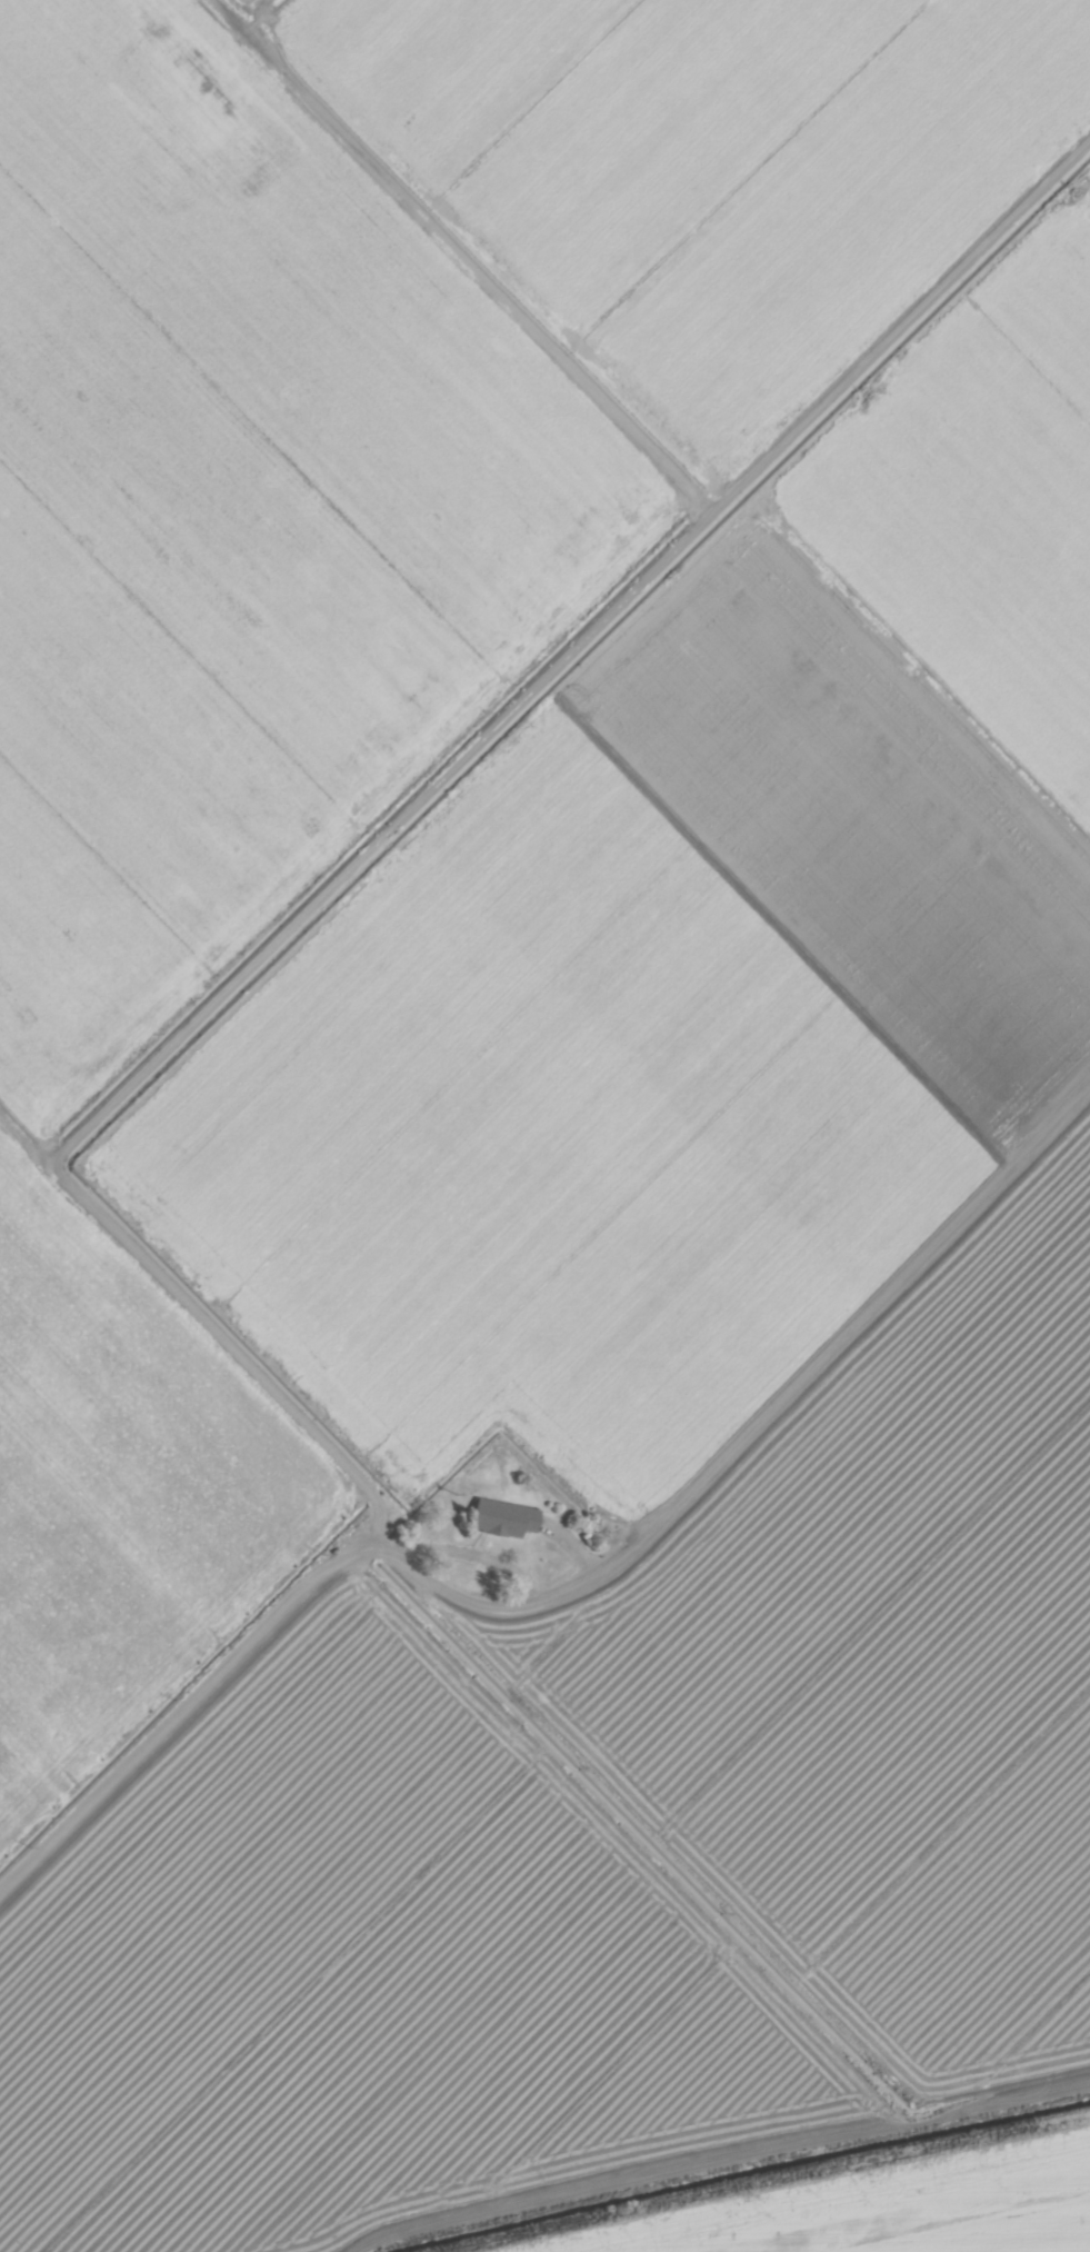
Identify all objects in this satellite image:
crop: (239, 518)
crop: (642, 1054)
crop: (122, 1494)
building: (507, 1518)
crop: (370, 1980)

